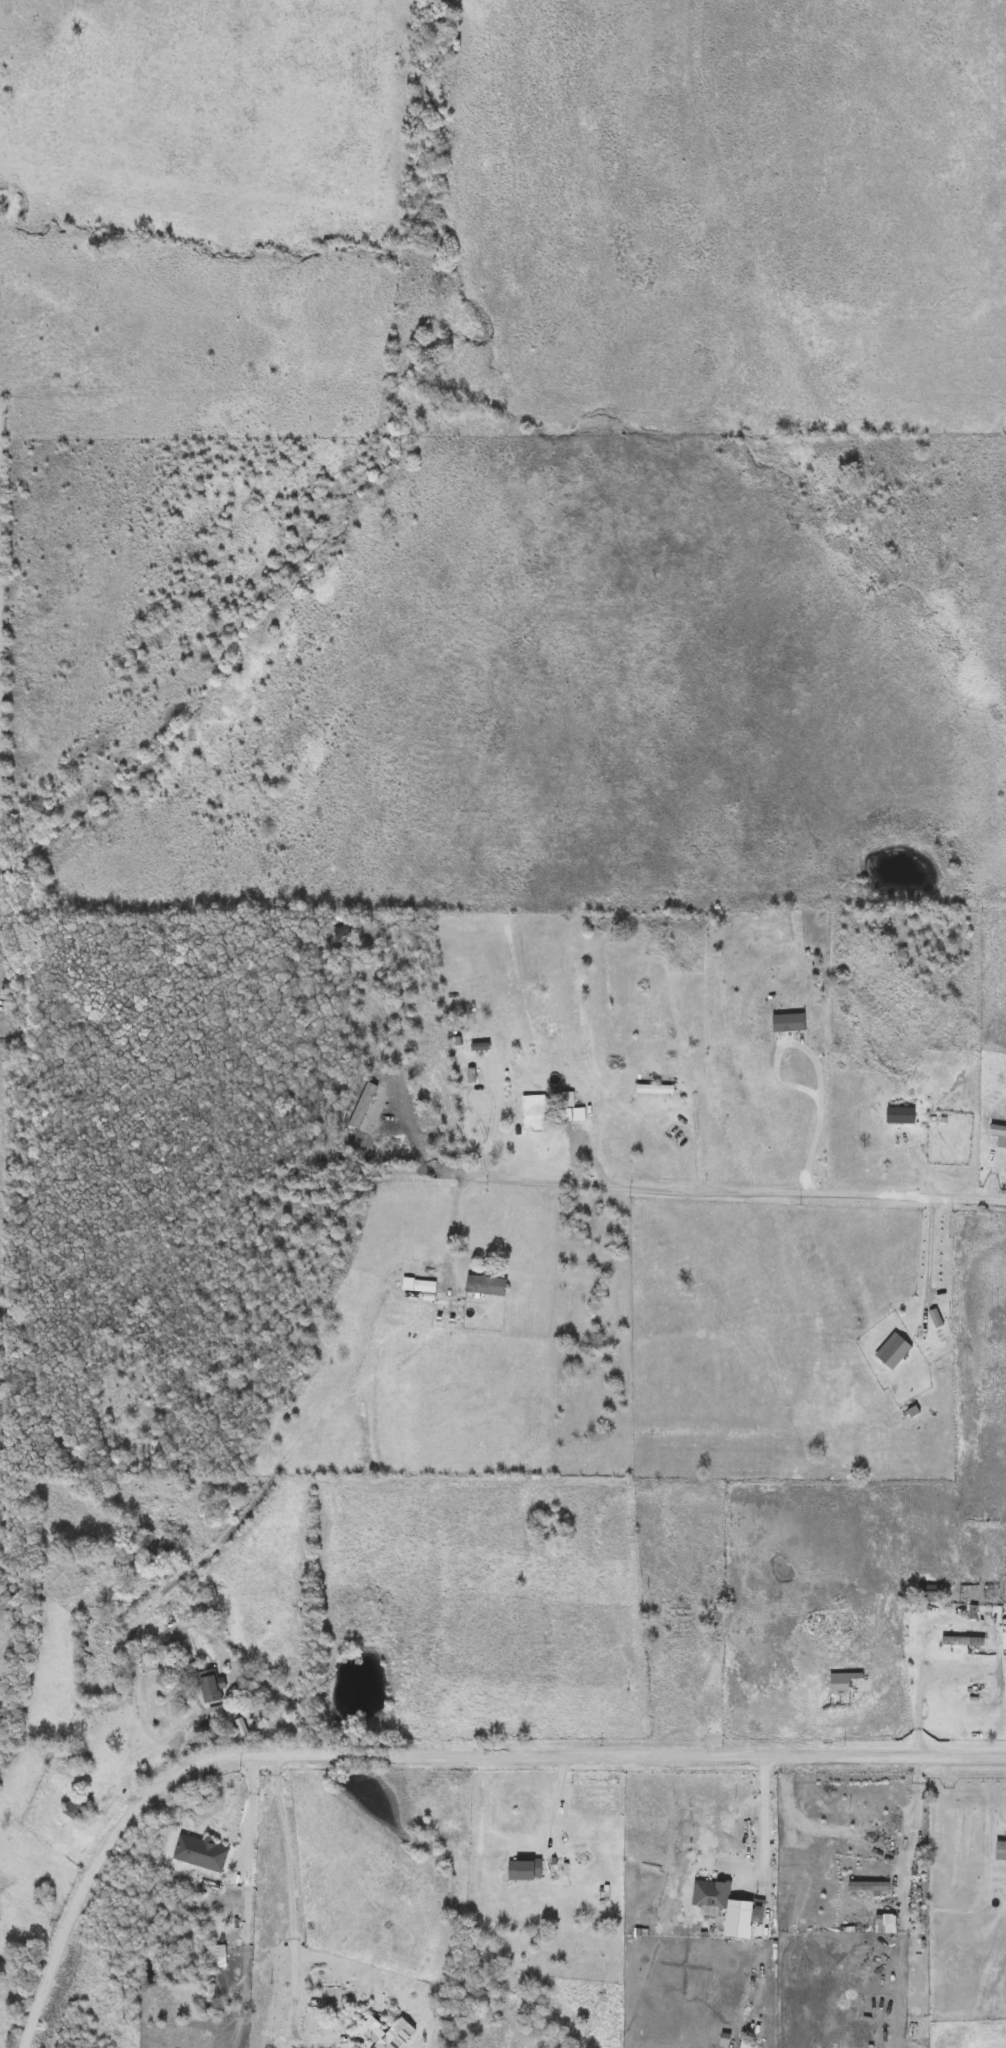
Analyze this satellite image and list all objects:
building: (657, 1090)
road: (699, 1100)
road: (825, 1110)
building: (539, 1112)
building: (901, 1115)
building: (1002, 1142)
road: (577, 1150)
road: (696, 1188)
road: (931, 1250)
building: (488, 1286)
building: (937, 1318)
building: (894, 1351)
building: (932, 1593)
building: (716, 1617)
building: (964, 1641)
building: (843, 1681)
building: (212, 1688)
road: (429, 1751)
road: (561, 1794)
road: (253, 1808)
building: (78, 1809)
road: (897, 1820)
road: (771, 1822)
building: (215, 1830)
building: (817, 1856)
road: (291, 1859)
building: (526, 1871)
building: (869, 1887)
building: (397, 2035)

